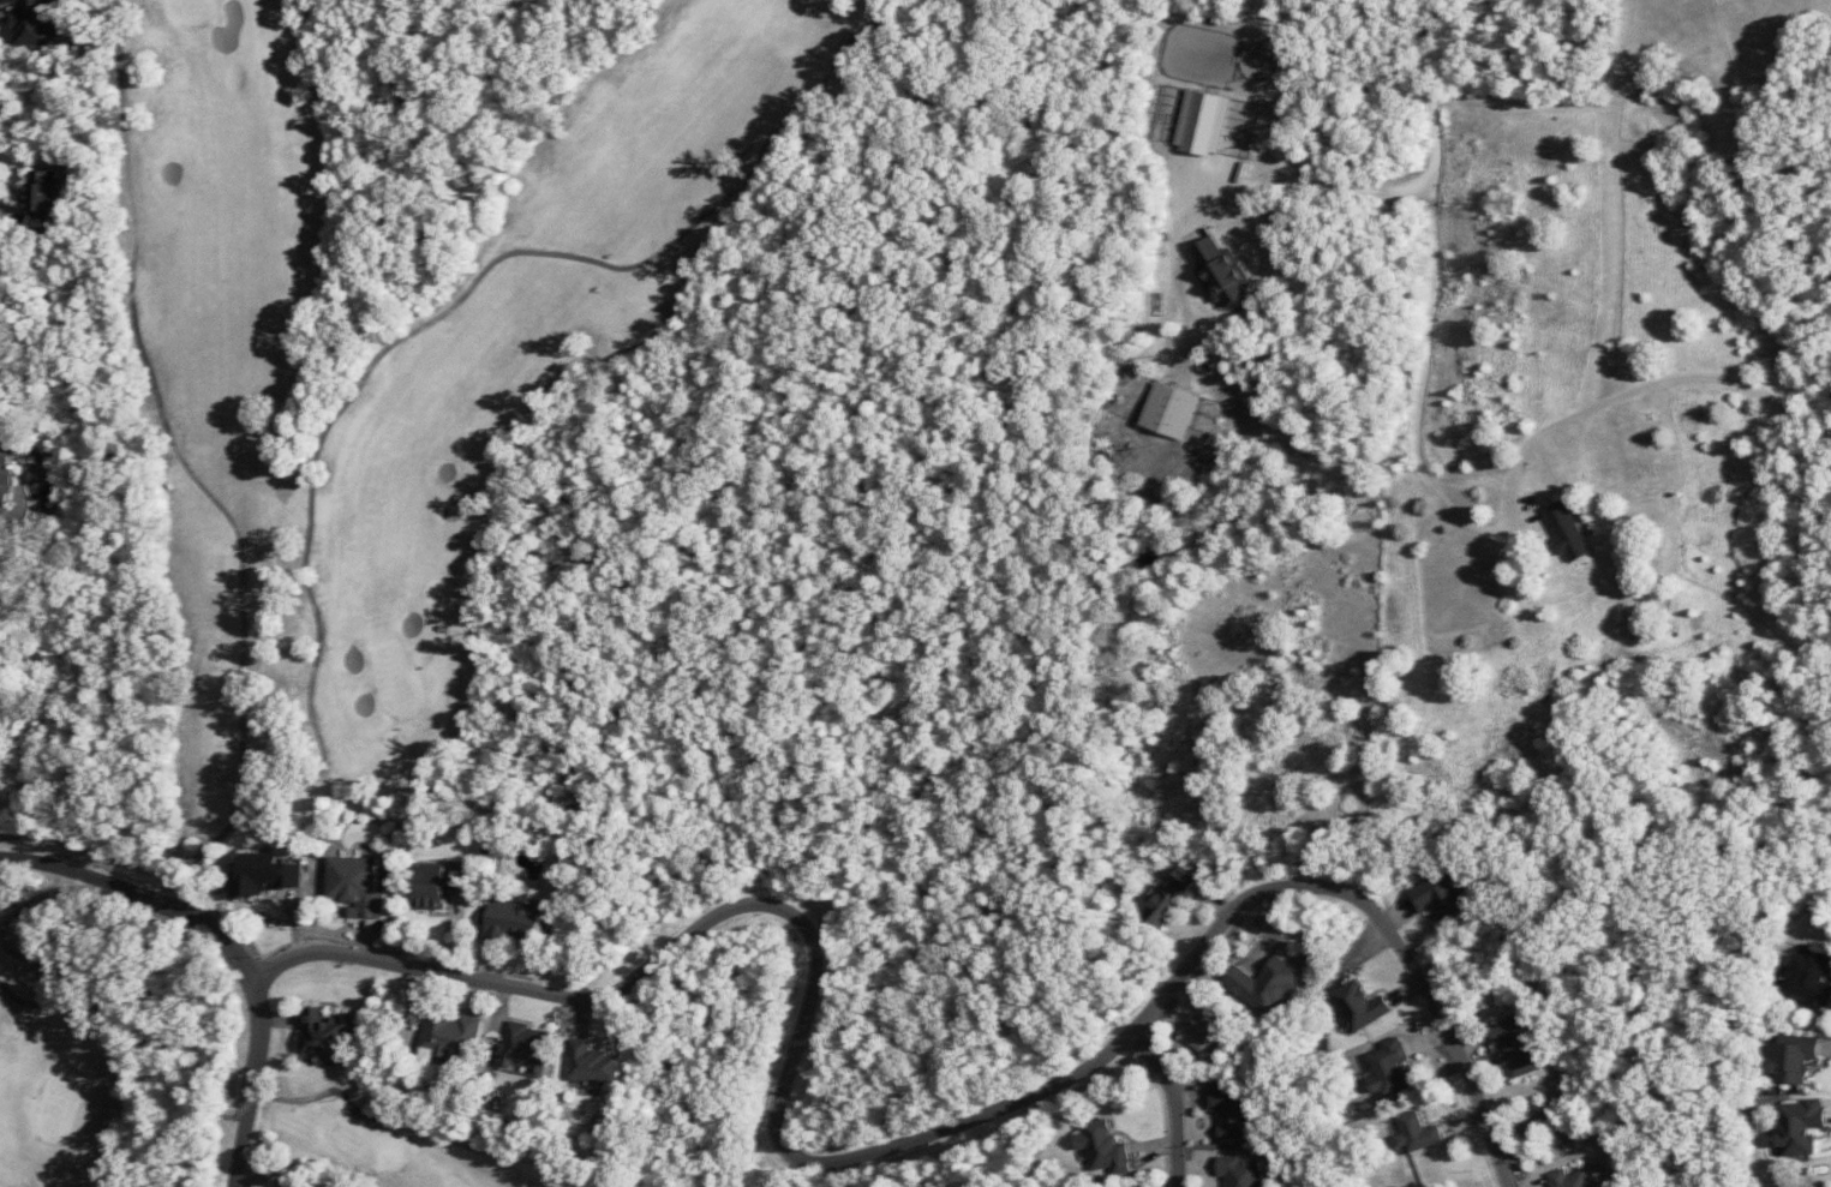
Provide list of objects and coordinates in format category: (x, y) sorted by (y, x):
building: (35, 23)
building: (1202, 122)
road: (1314, 180)
building: (42, 197)
road: (1438, 238)
building: (1220, 271)
building: (1169, 410)
park: (370, 422)
building: (5, 464)
building: (1566, 532)
road: (1057, 572)
building: (263, 875)
building: (354, 886)
building: (437, 887)
building: (1441, 894)
building: (1171, 897)
building: (515, 921)
road: (229, 946)
building: (1265, 985)
building: (1359, 1006)
building: (1204, 1030)
building: (324, 1033)
building: (450, 1035)
road: (797, 1042)
building: (1516, 1045)
building: (528, 1047)
building: (1791, 1059)
building: (592, 1063)
building: (1388, 1068)
road: (1173, 1102)
building: (1231, 1111)
road: (760, 1123)
building: (1799, 1127)
building: (1416, 1132)
building: (1102, 1147)
road: (870, 1152)
building: (1240, 1171)
building: (1569, 1179)
building: (298, 1185)
building: (316, 1186)
building: (1600, 1186)

